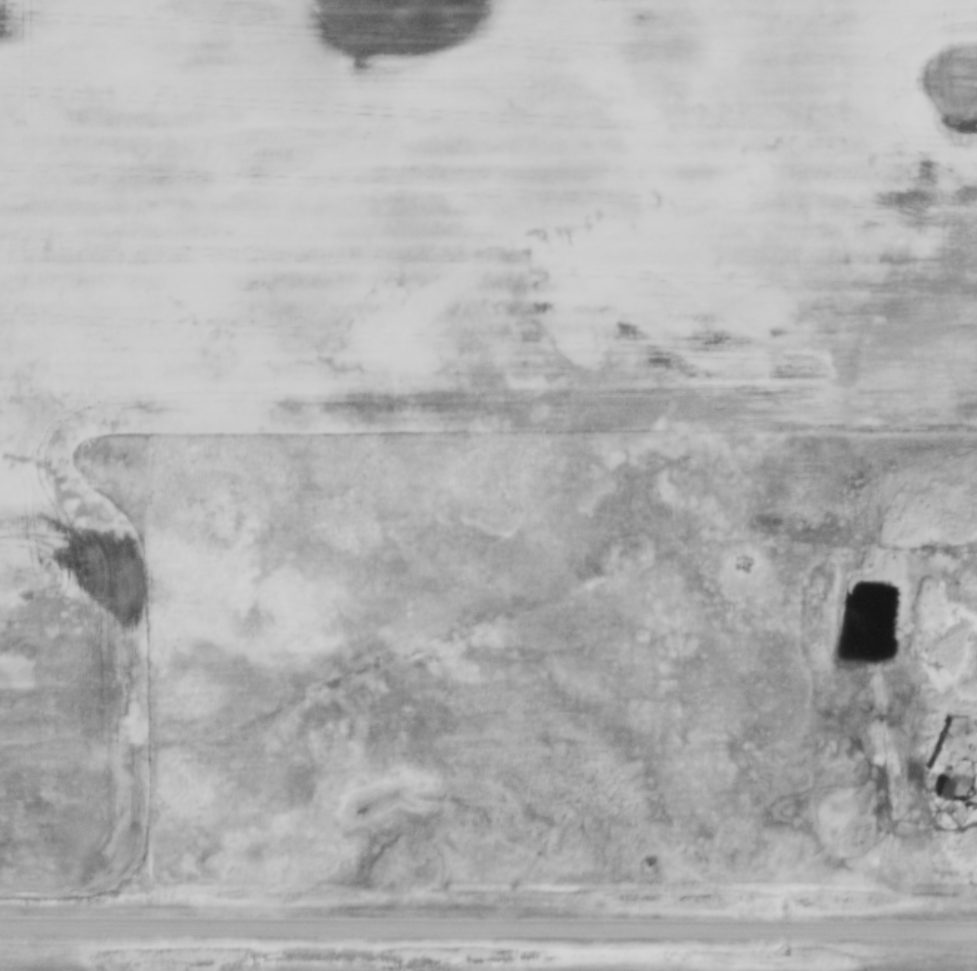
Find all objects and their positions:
building: (939, 789)
road: (488, 922)

